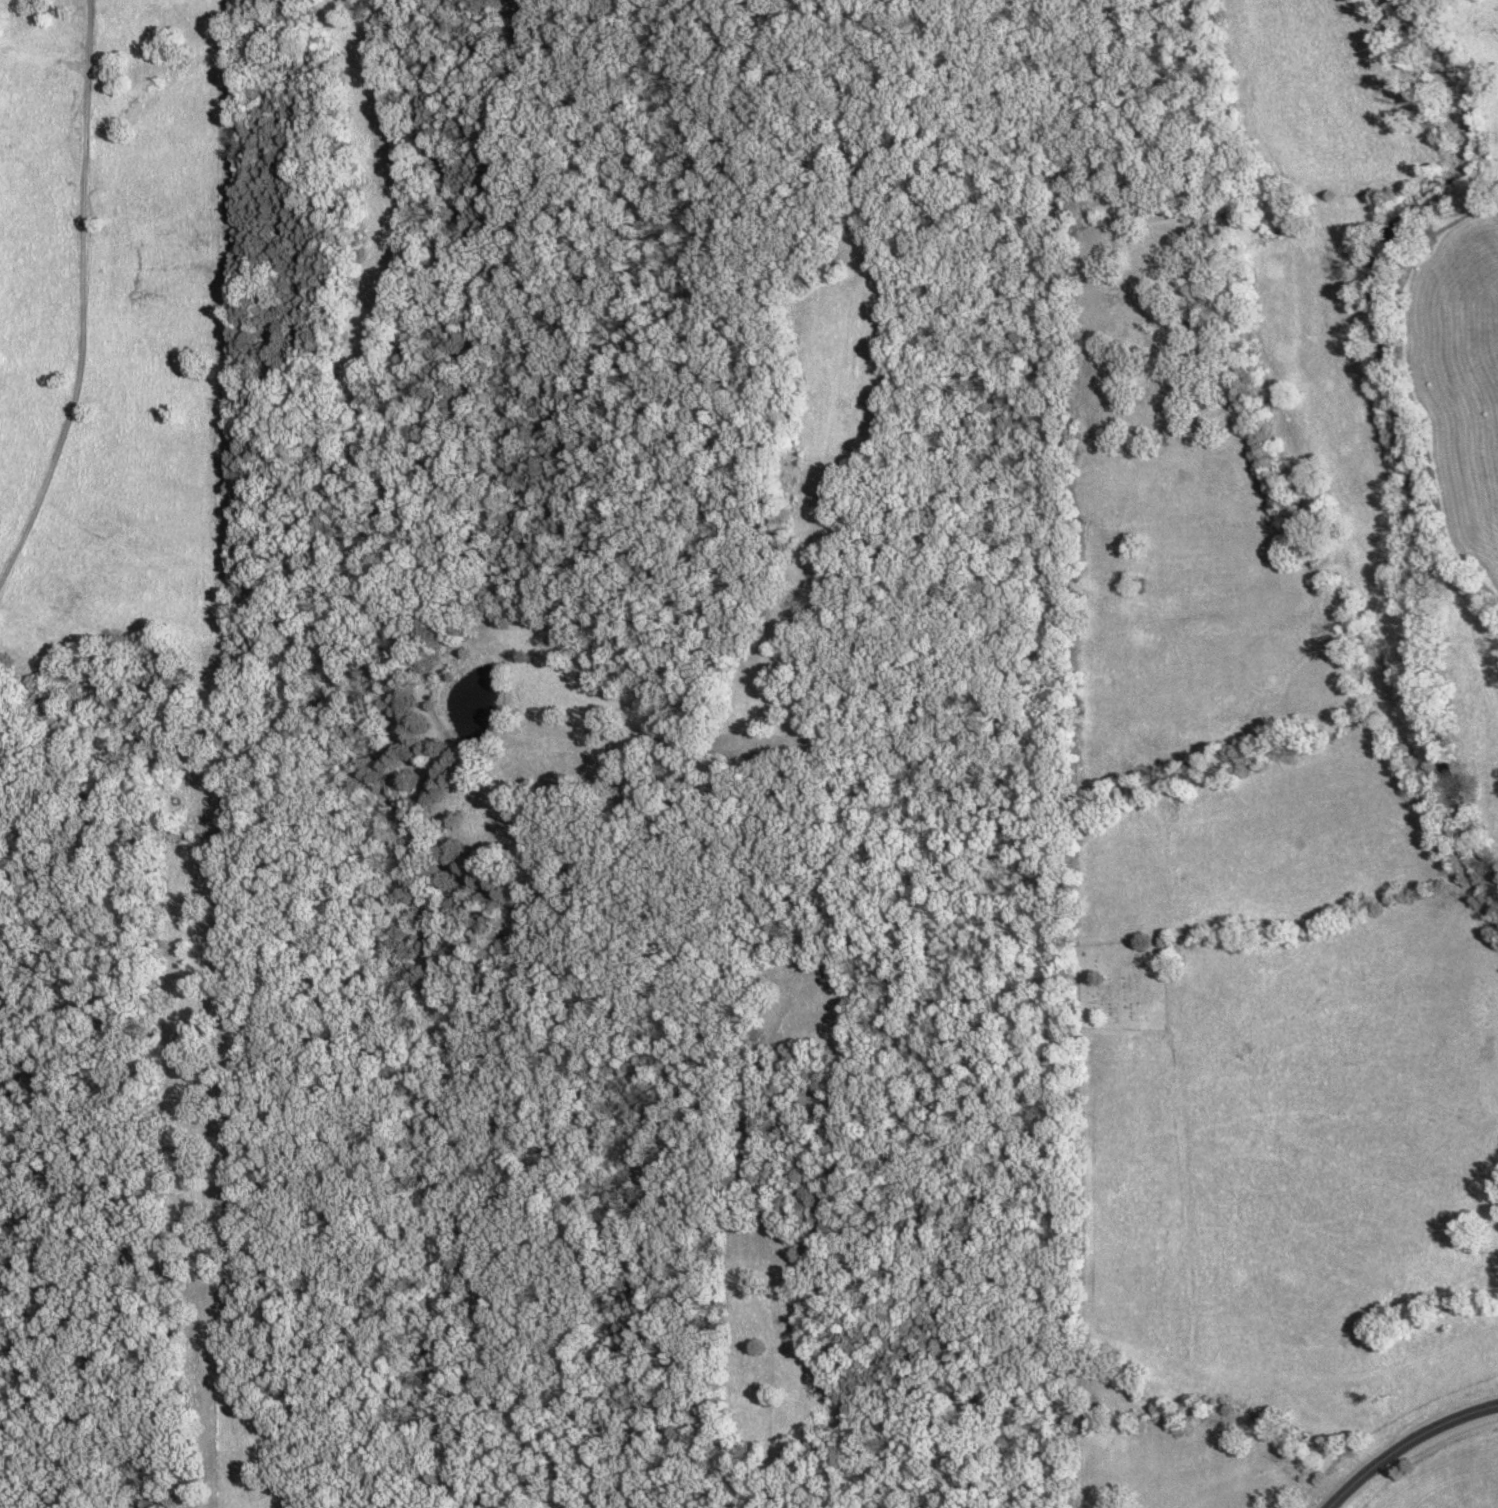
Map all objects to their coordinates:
road: (85, 301)
road: (209, 754)
road: (1409, 1446)

